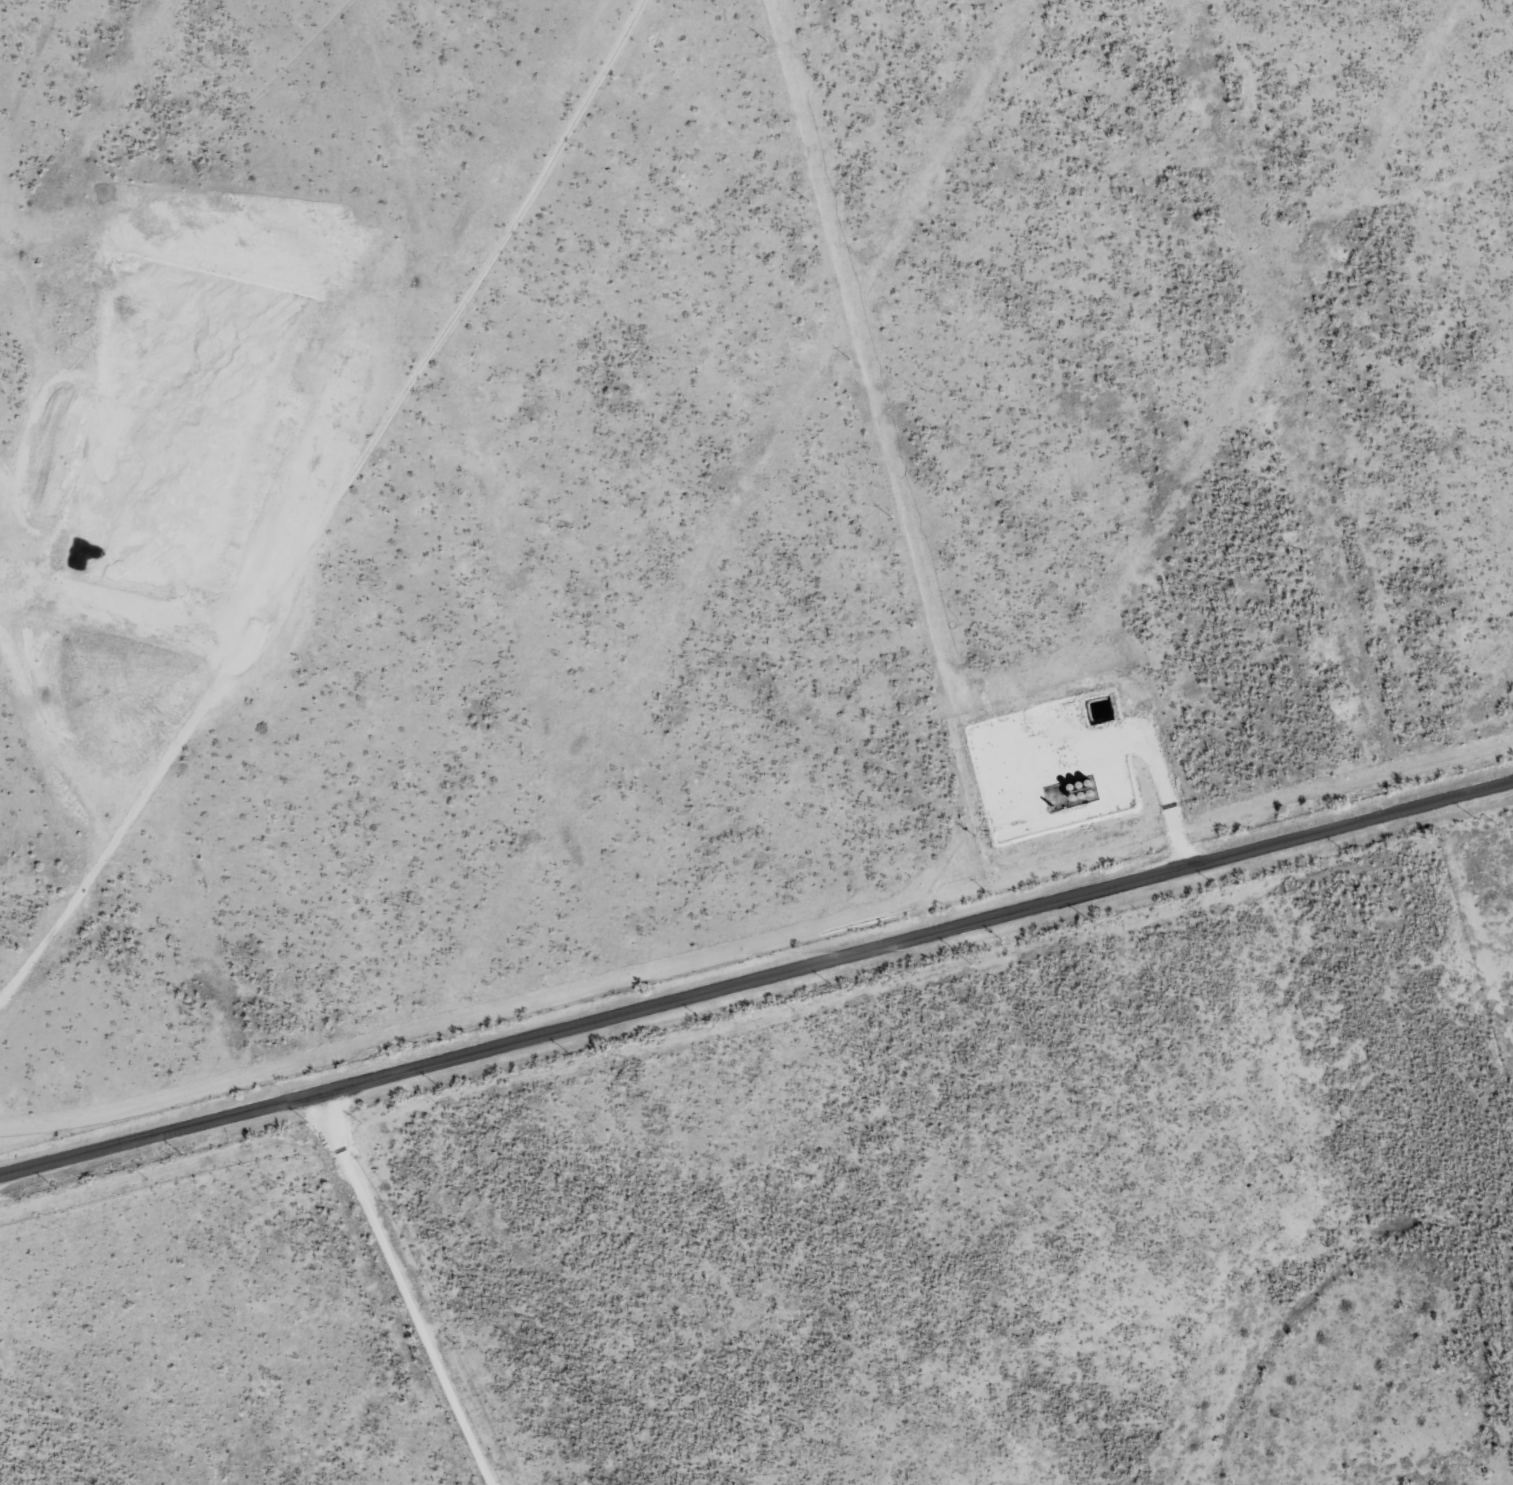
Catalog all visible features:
road: (211, 161)
road: (327, 506)
road: (756, 975)
road: (407, 1288)

